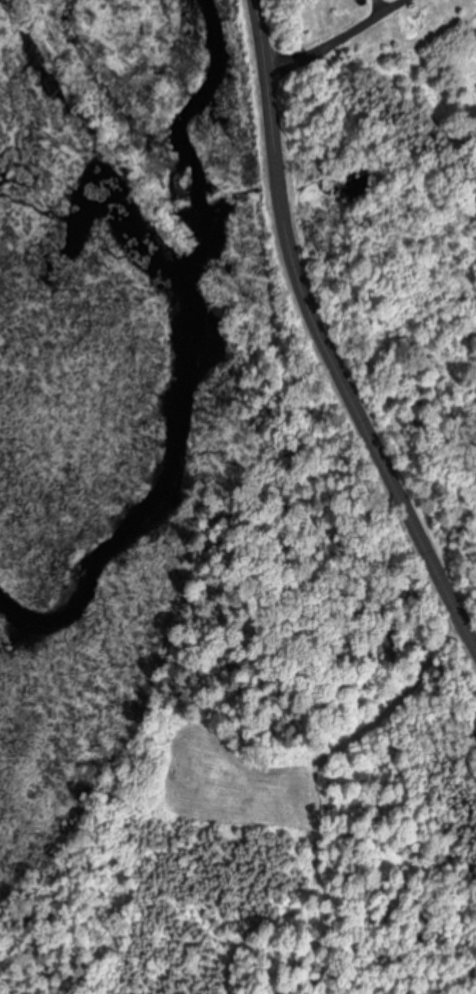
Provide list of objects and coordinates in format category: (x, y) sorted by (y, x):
road: (331, 332)

